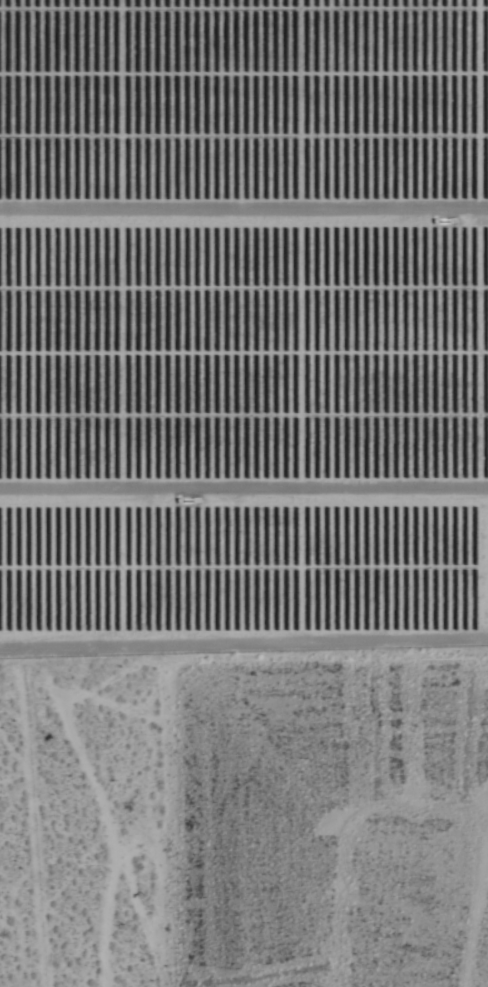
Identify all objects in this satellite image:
solar farm: (243, 322)

